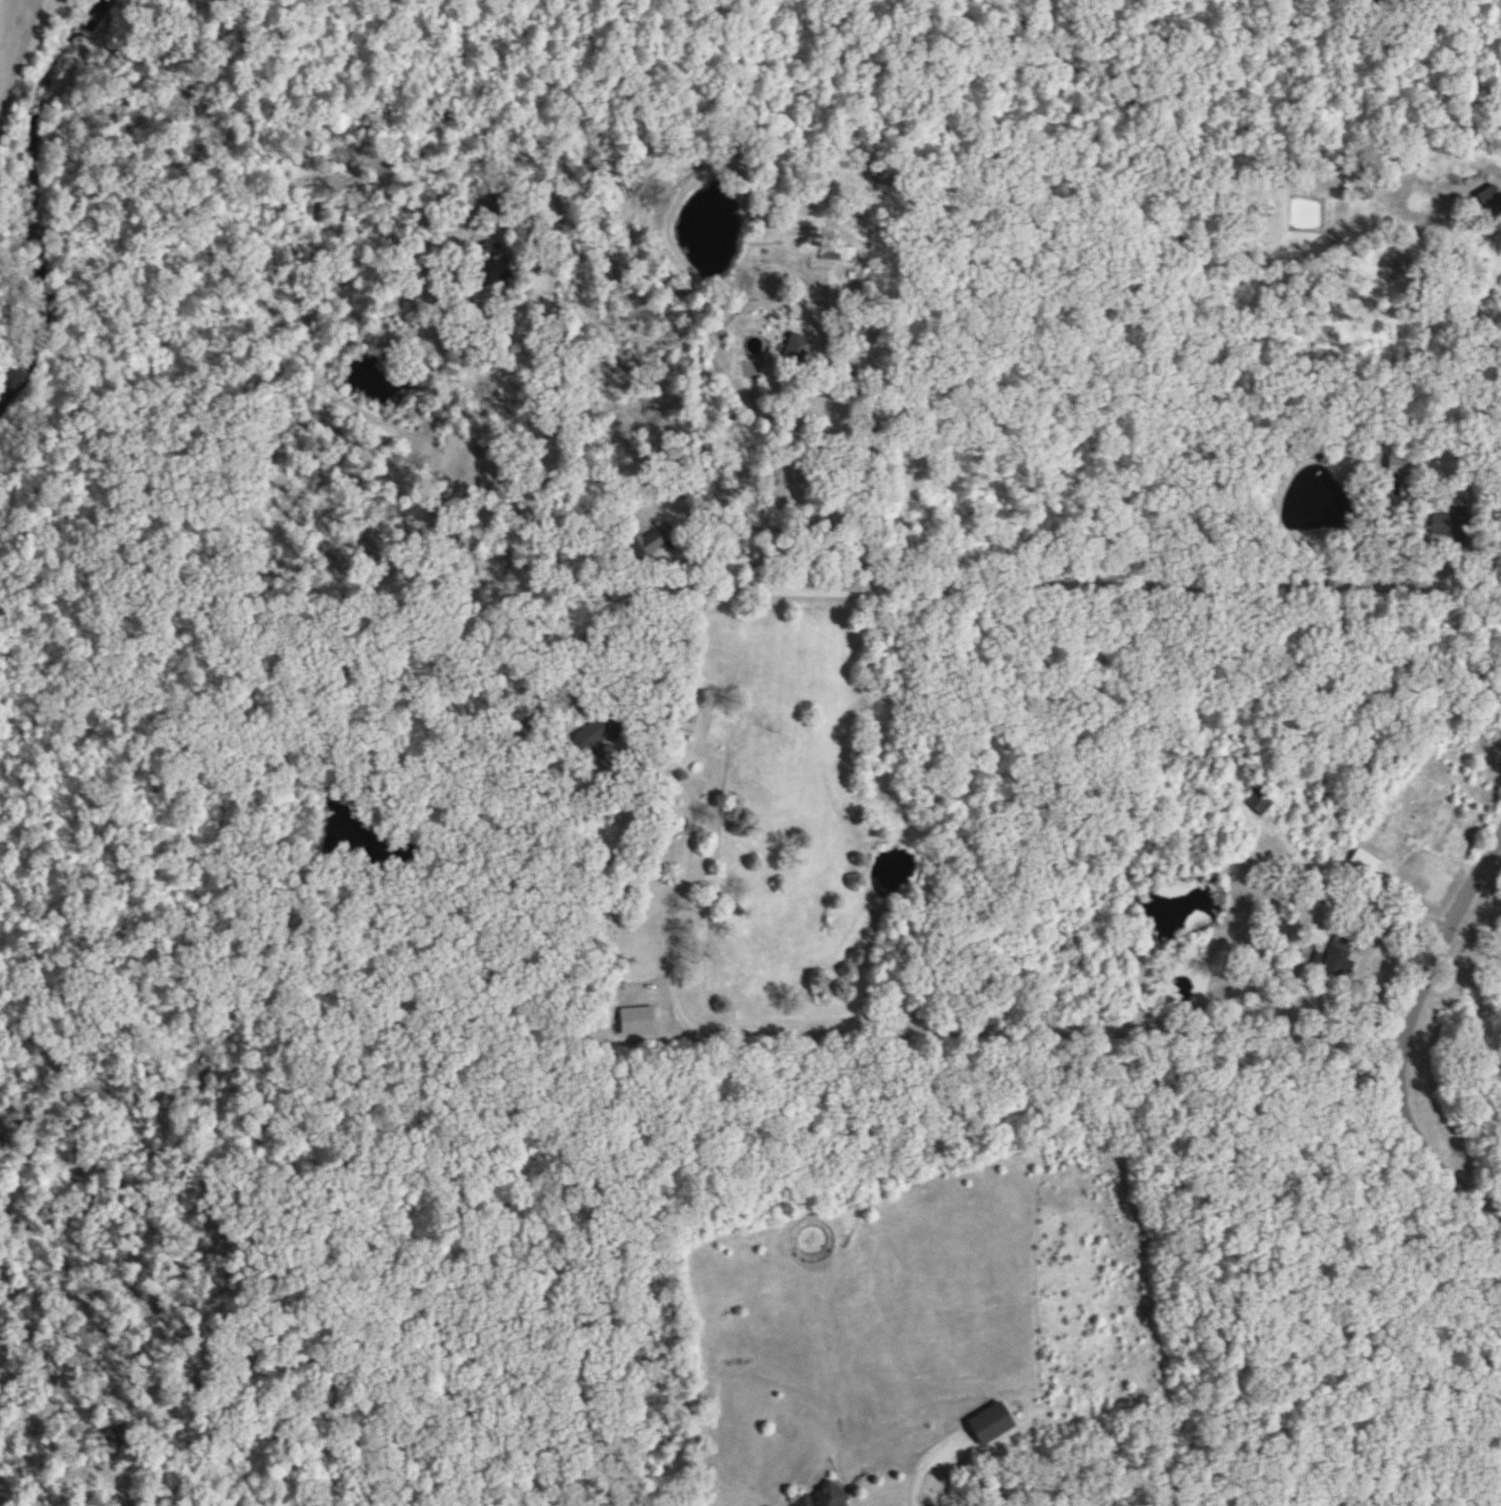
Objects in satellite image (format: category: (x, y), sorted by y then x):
building: (1491, 202)
building: (838, 254)
building: (494, 275)
building: (796, 351)
building: (1403, 466)
road: (539, 496)
road: (827, 497)
road: (1267, 515)
building: (1439, 524)
road: (1099, 590)
building: (1259, 802)
building: (1365, 862)
building: (637, 1023)
road: (925, 1032)
road: (1408, 1035)
building: (990, 1425)
road: (913, 1491)
building: (825, 1497)

